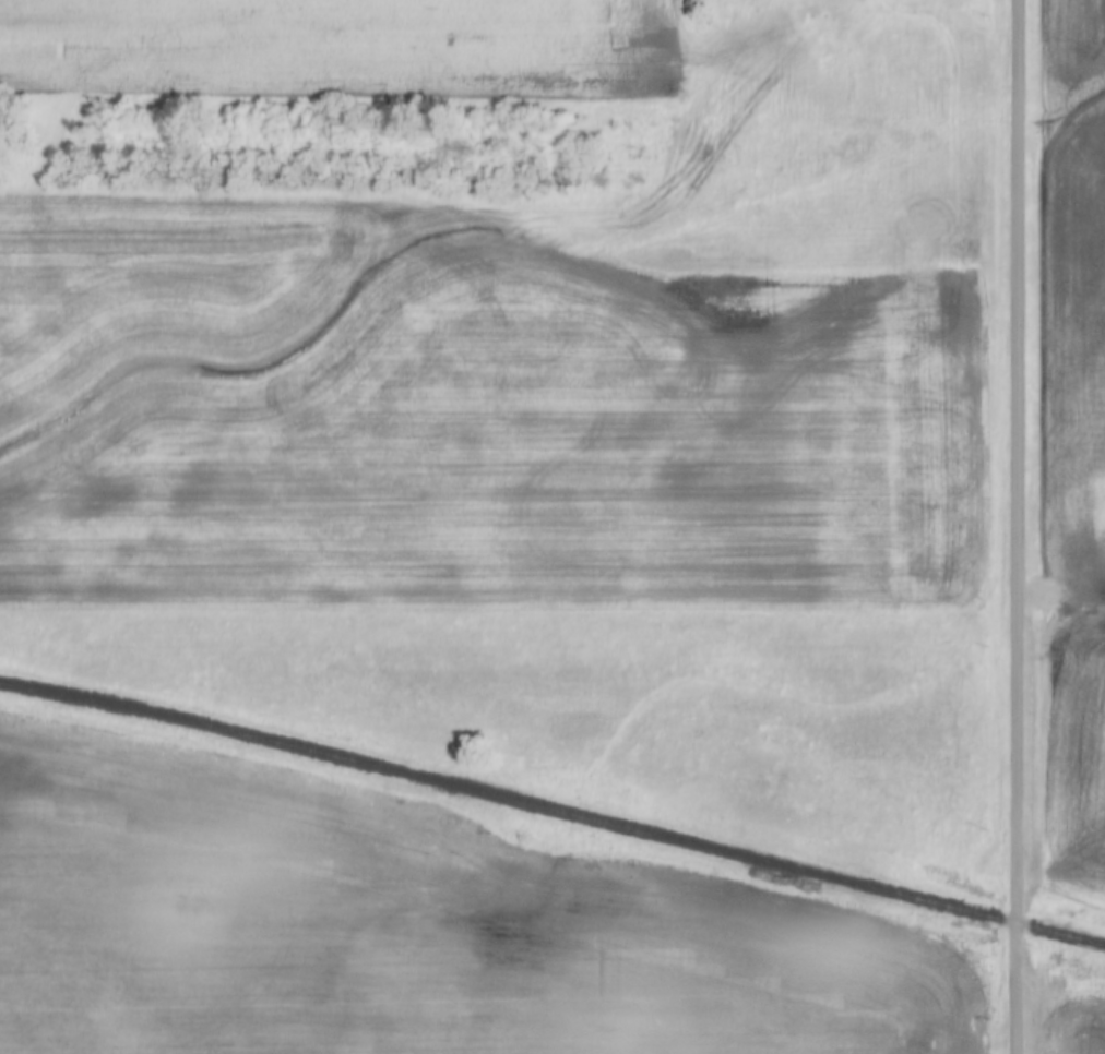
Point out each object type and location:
building: (693, 3)
road: (1019, 526)
railway: (552, 811)

